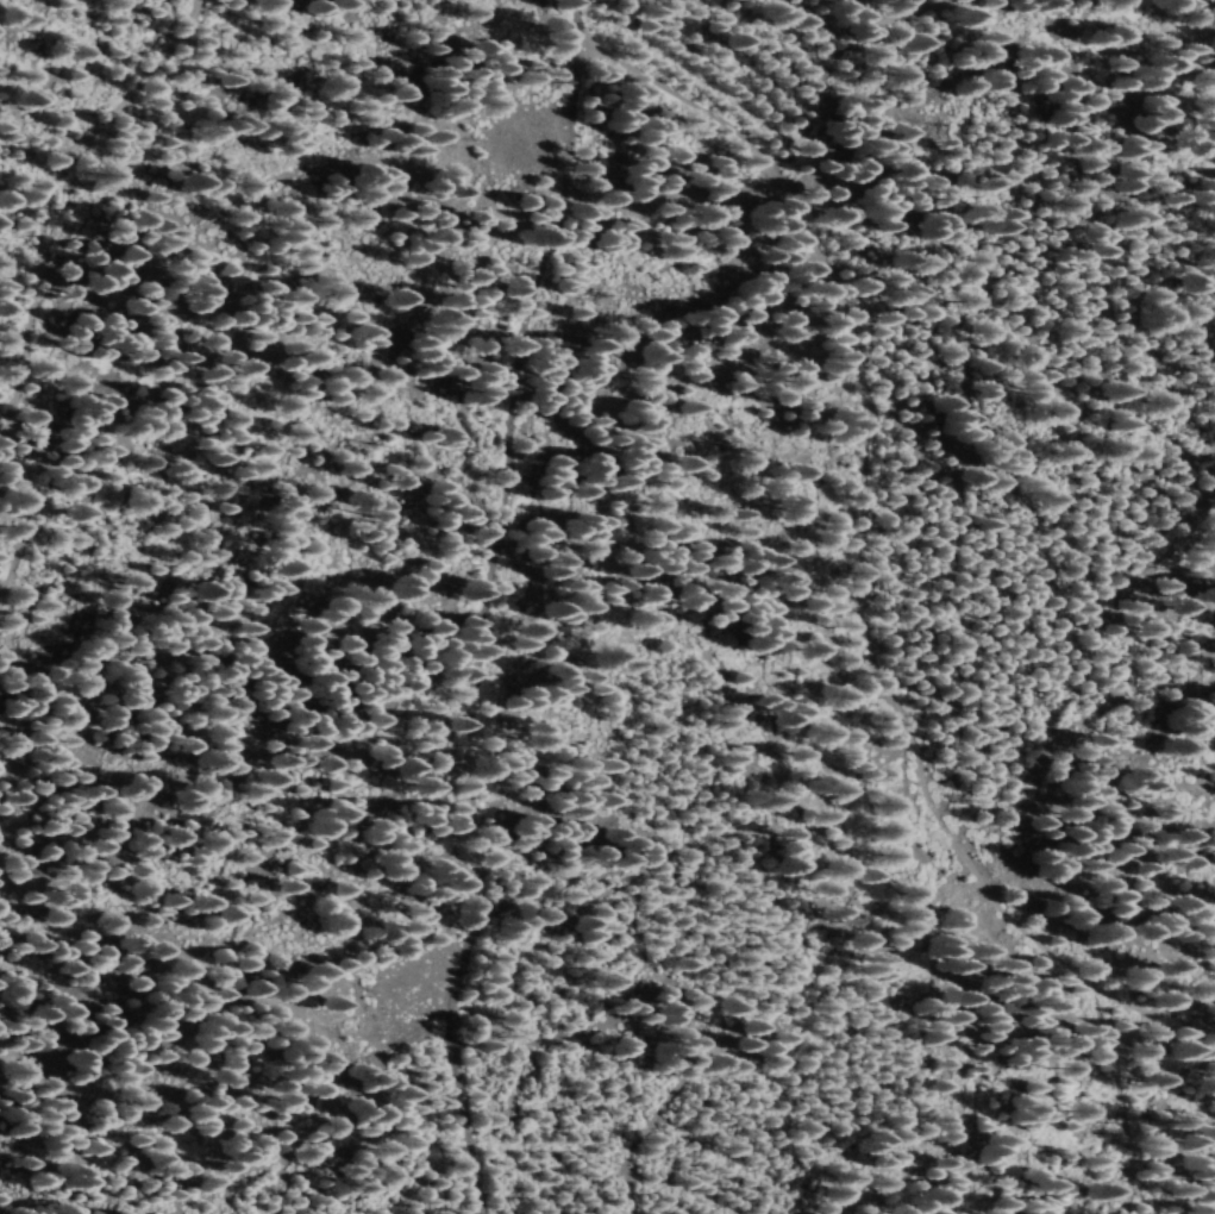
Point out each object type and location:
road: (134, 129)
road: (42, 480)
road: (887, 511)
road: (506, 621)
road: (1170, 1030)
road: (1123, 1125)

